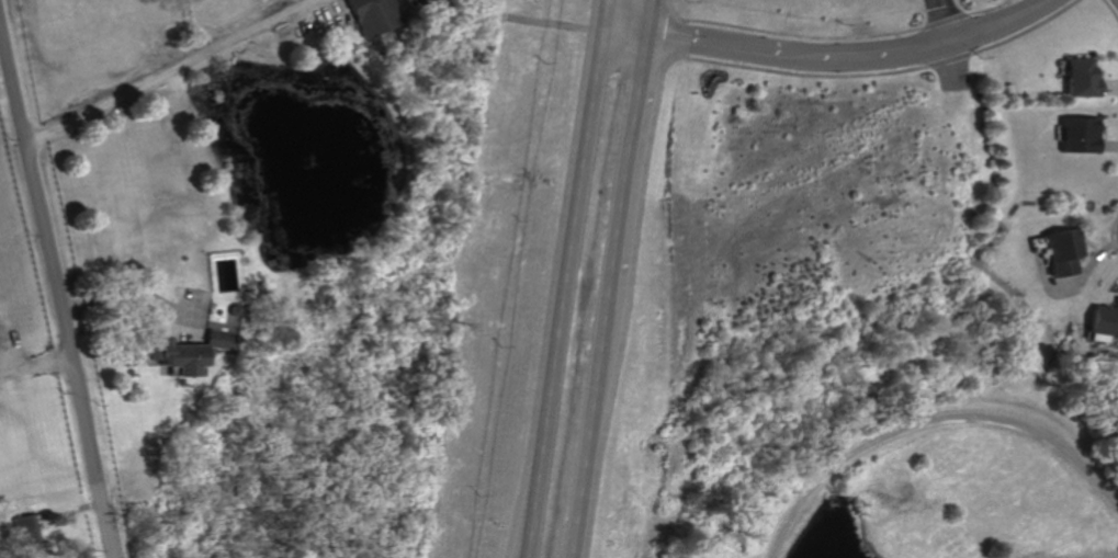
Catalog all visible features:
road: (993, 7)
road: (1111, 10)
road: (1029, 12)
building: (370, 16)
road: (602, 16)
road: (648, 19)
road: (950, 20)
road: (945, 21)
road: (1027, 30)
road: (979, 34)
road: (623, 35)
road: (805, 35)
road: (684, 36)
road: (714, 47)
road: (885, 54)
road: (802, 56)
road: (953, 59)
road: (956, 64)
road: (173, 71)
road: (809, 72)
building: (1079, 79)
road: (1107, 86)
building: (1079, 135)
road: (1107, 145)
road: (626, 172)
road: (1110, 232)
building: (1063, 250)
road: (1066, 281)
road: (1075, 282)
road: (129, 294)
road: (54, 295)
road: (558, 295)
building: (1105, 318)
building: (182, 352)
road: (34, 364)
road: (933, 419)
road: (585, 432)
building: (25, 529)

